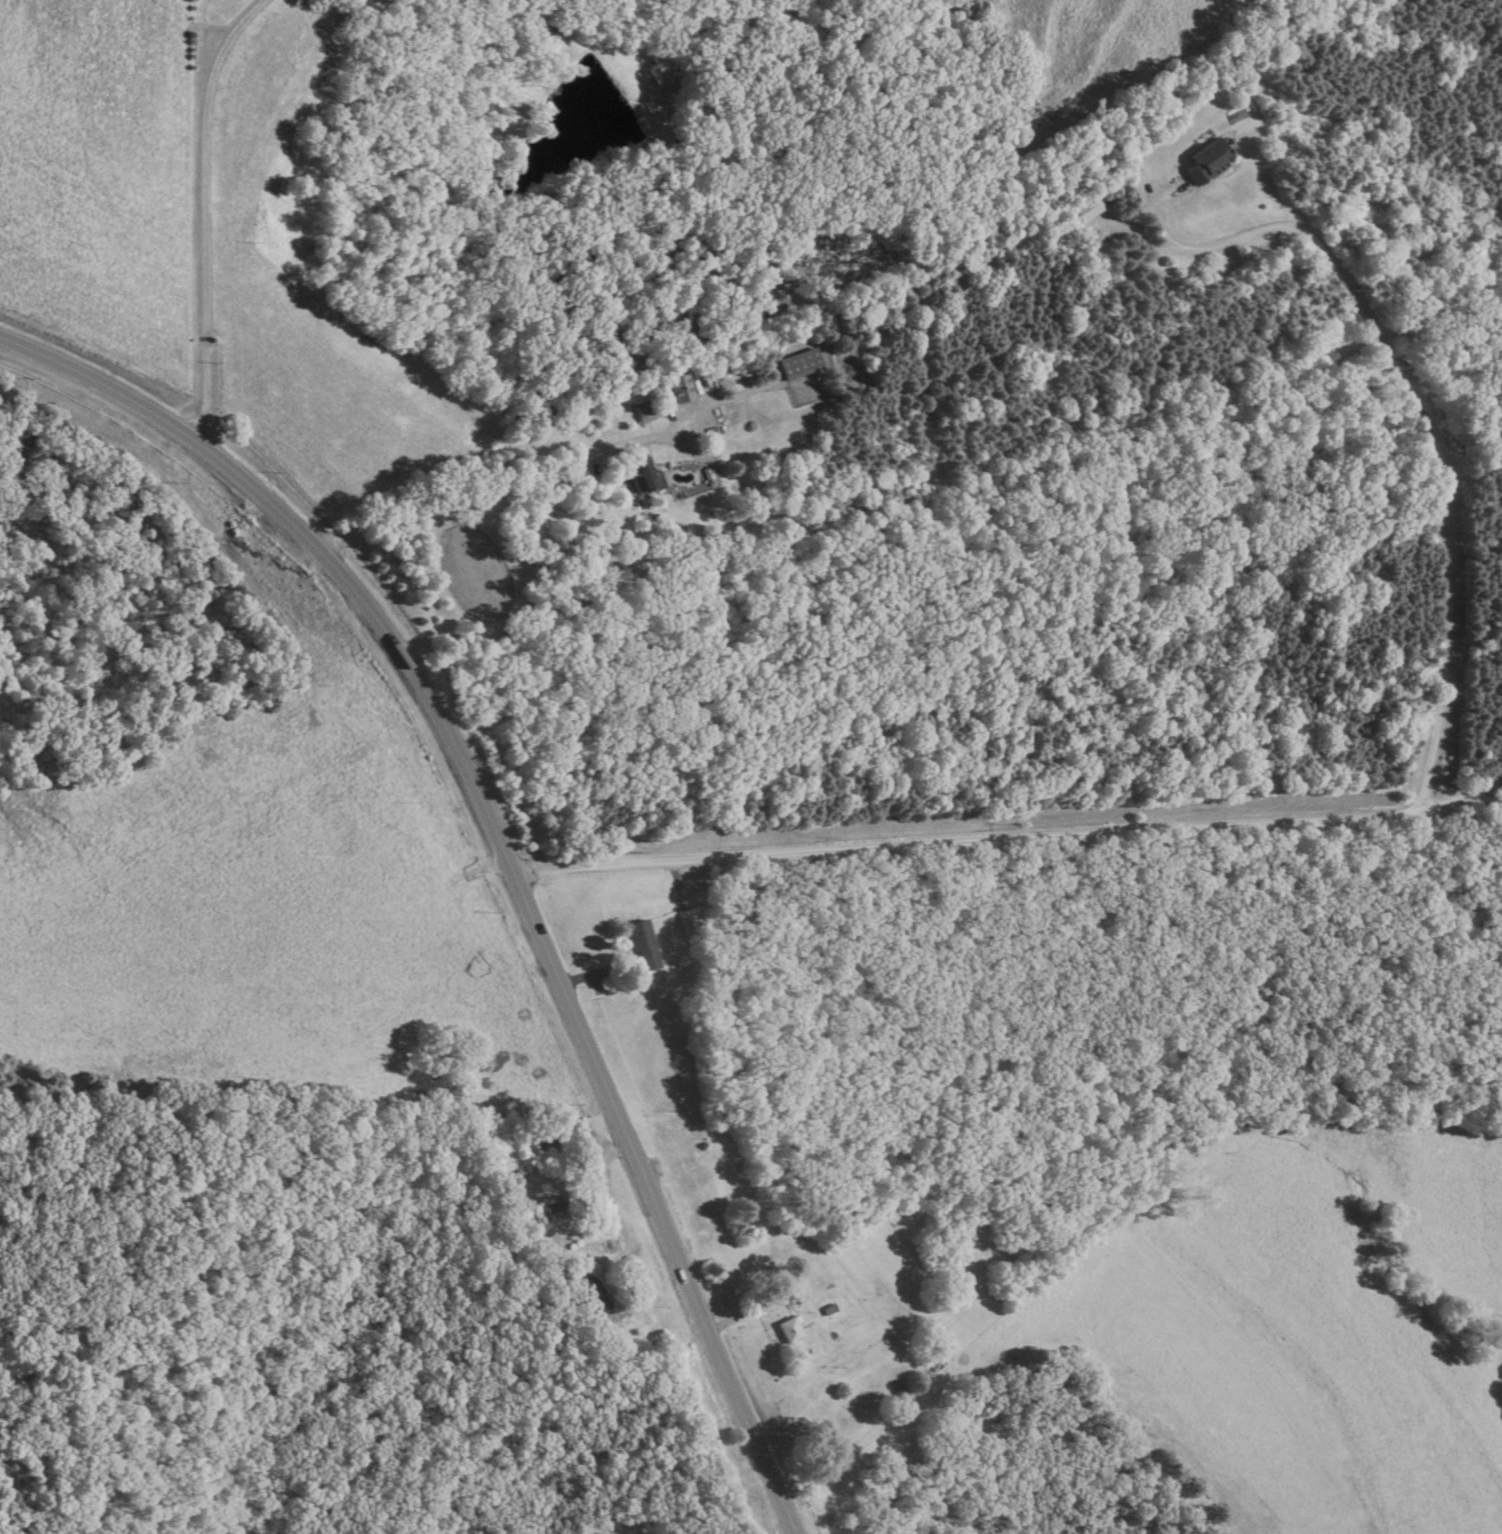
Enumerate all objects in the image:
building: (1205, 161)
building: (1085, 210)
road: (202, 213)
building: (797, 366)
building: (676, 389)
building: (642, 415)
road: (546, 472)
building: (636, 475)
road: (572, 505)
road: (1011, 834)
road: (501, 853)
building: (691, 923)
building: (638, 948)
building: (552, 1213)
building: (589, 1296)
building: (785, 1331)

